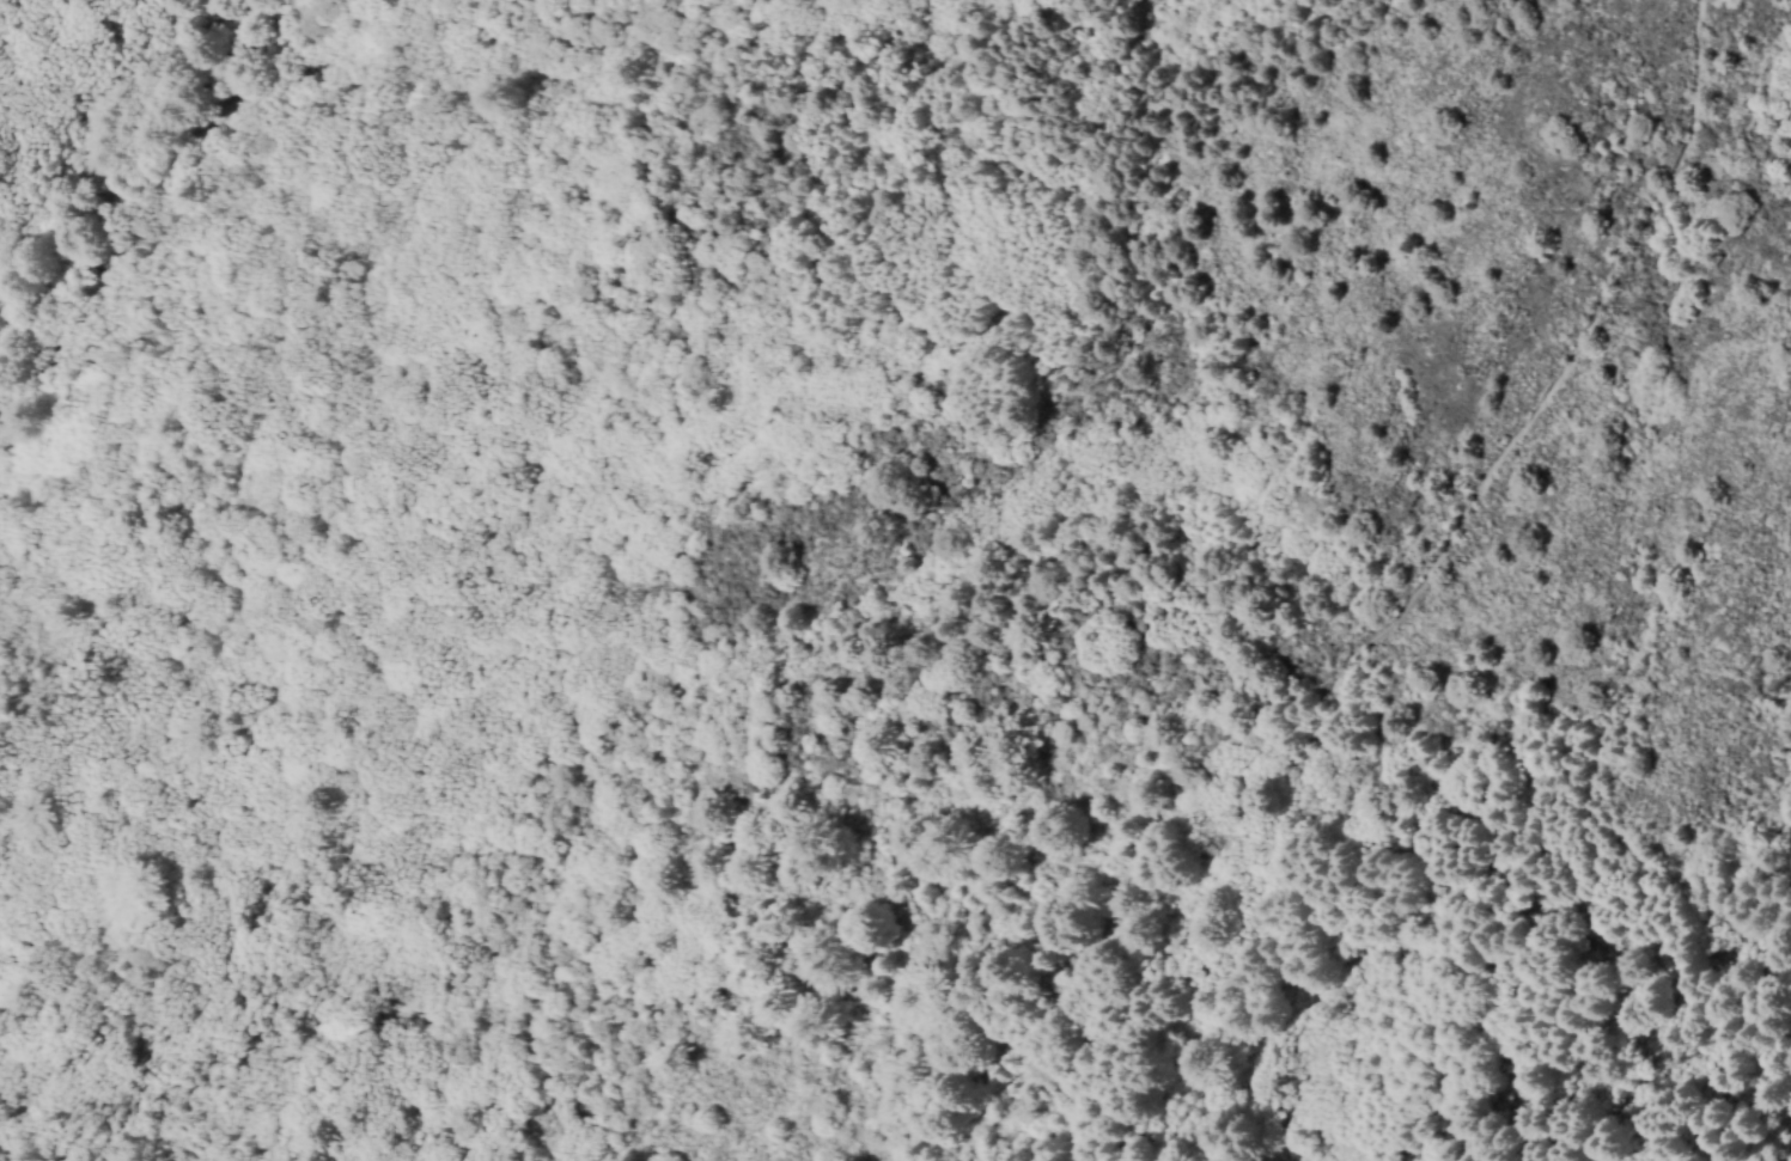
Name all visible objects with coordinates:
road: (1393, 625)

